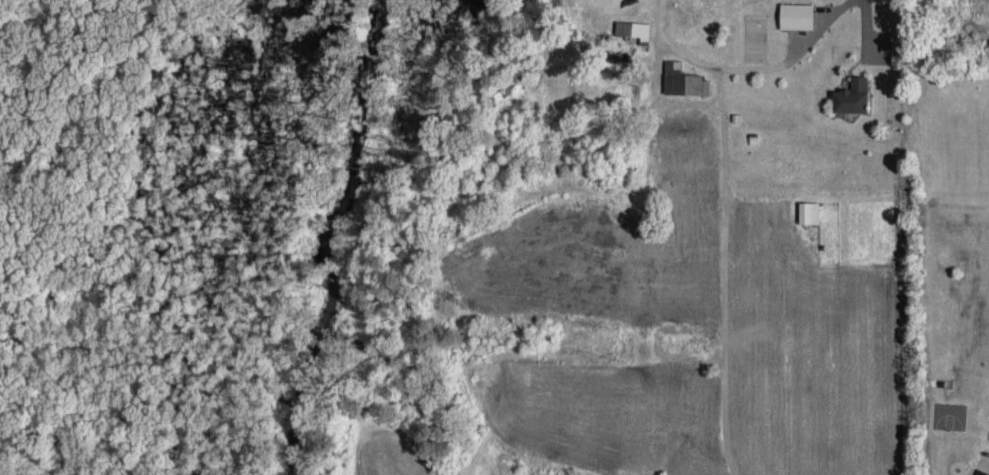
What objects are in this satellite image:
building: (796, 13)
building: (633, 27)
road: (745, 65)
building: (682, 77)
building: (852, 93)
building: (808, 210)

